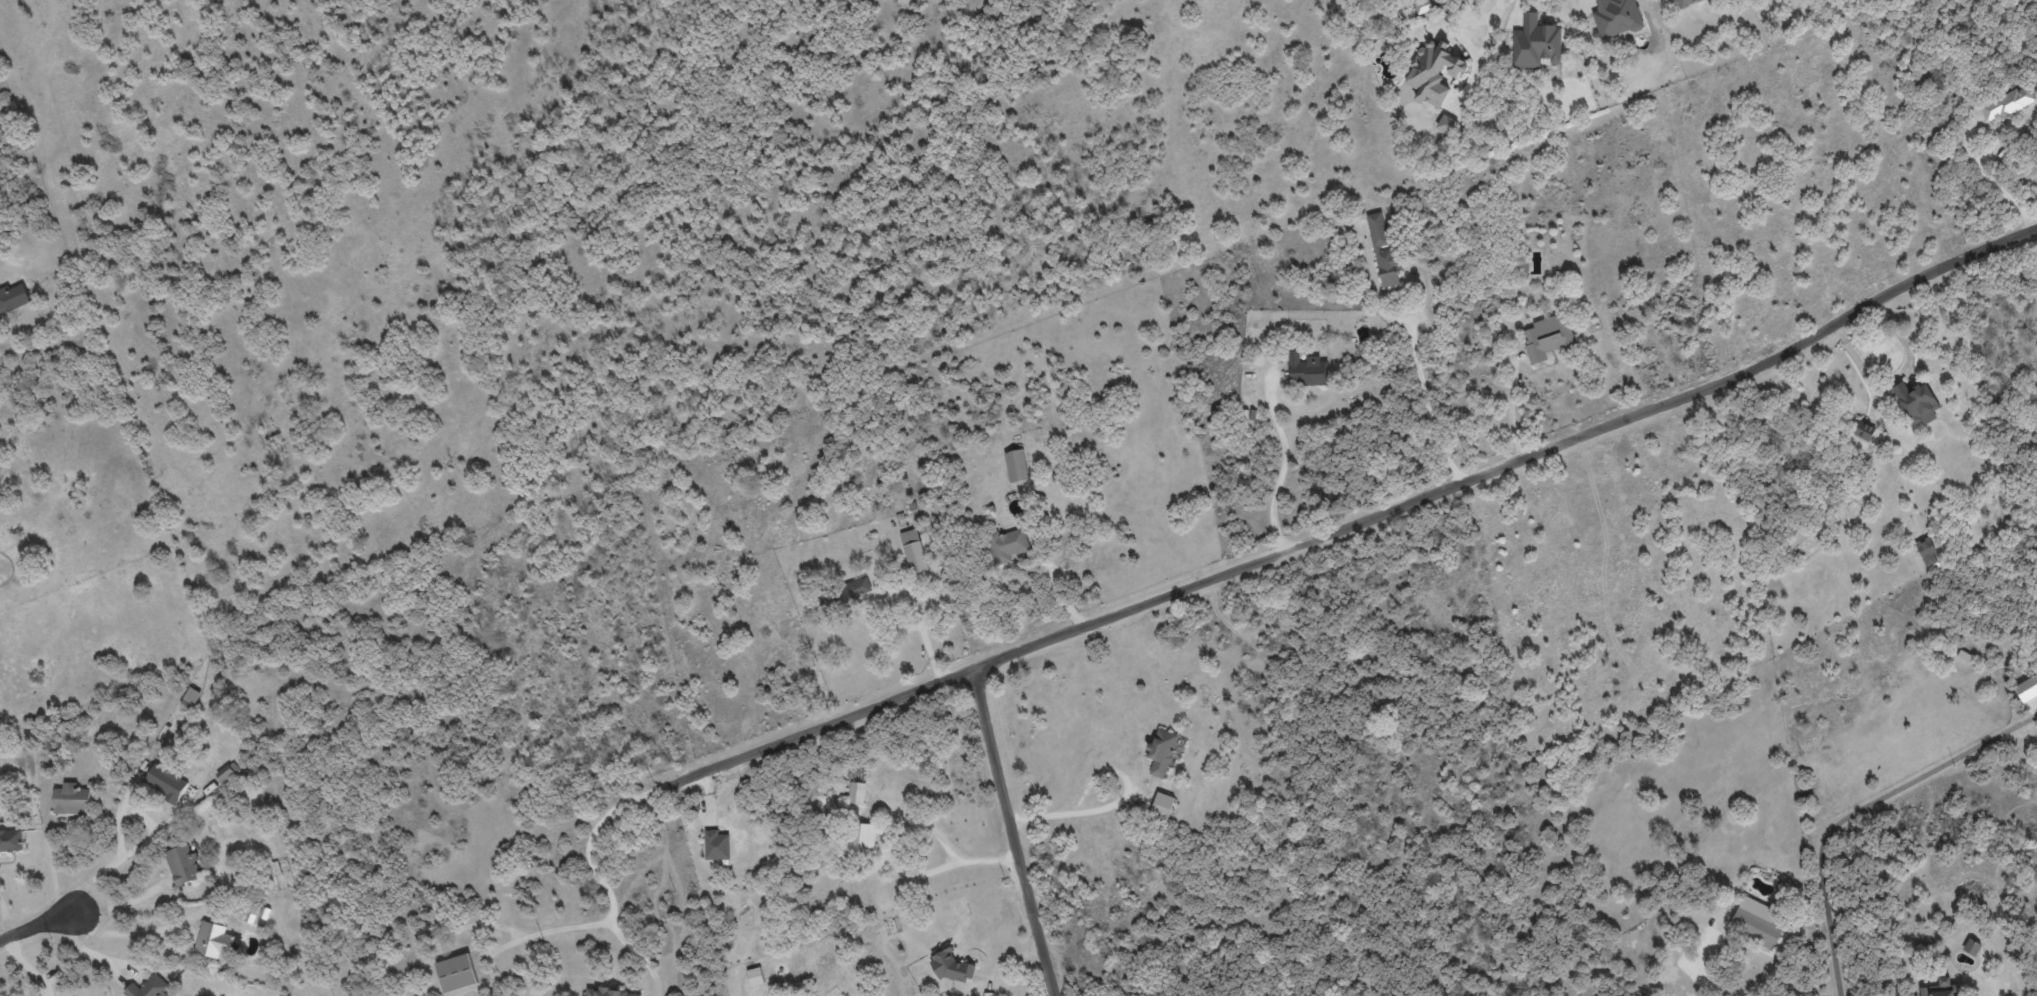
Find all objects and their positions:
building: (1685, 2)
building: (1423, 6)
road: (1500, 7)
building: (1616, 17)
road: (1468, 41)
building: (1536, 43)
building: (1434, 73)
building: (2008, 103)
building: (1446, 123)
road: (1970, 156)
building: (1383, 251)
building: (1521, 266)
building: (13, 298)
building: (1547, 337)
building: (1306, 370)
road: (1422, 382)
building: (1916, 403)
building: (1863, 430)
road: (1282, 464)
building: (1016, 465)
road: (1359, 523)
building: (1007, 544)
building: (914, 551)
building: (1926, 551)
building: (856, 589)
building: (191, 696)
building: (1161, 752)
building: (225, 773)
building: (166, 782)
building: (857, 793)
building: (72, 800)
building: (1162, 806)
road: (1857, 810)
road: (1078, 814)
road: (1013, 833)
building: (861, 837)
building: (12, 840)
building: (716, 845)
road: (128, 852)
building: (183, 864)
road: (899, 865)
road: (597, 875)
road: (124, 902)
road: (6, 920)
building: (1757, 921)
road: (36, 929)
road: (549, 932)
road: (124, 934)
building: (214, 940)
building: (1972, 946)
building: (948, 964)
building: (456, 973)
building: (755, 976)
road: (1714, 980)
building: (149, 987)
building: (1941, 988)
building: (610, 993)

